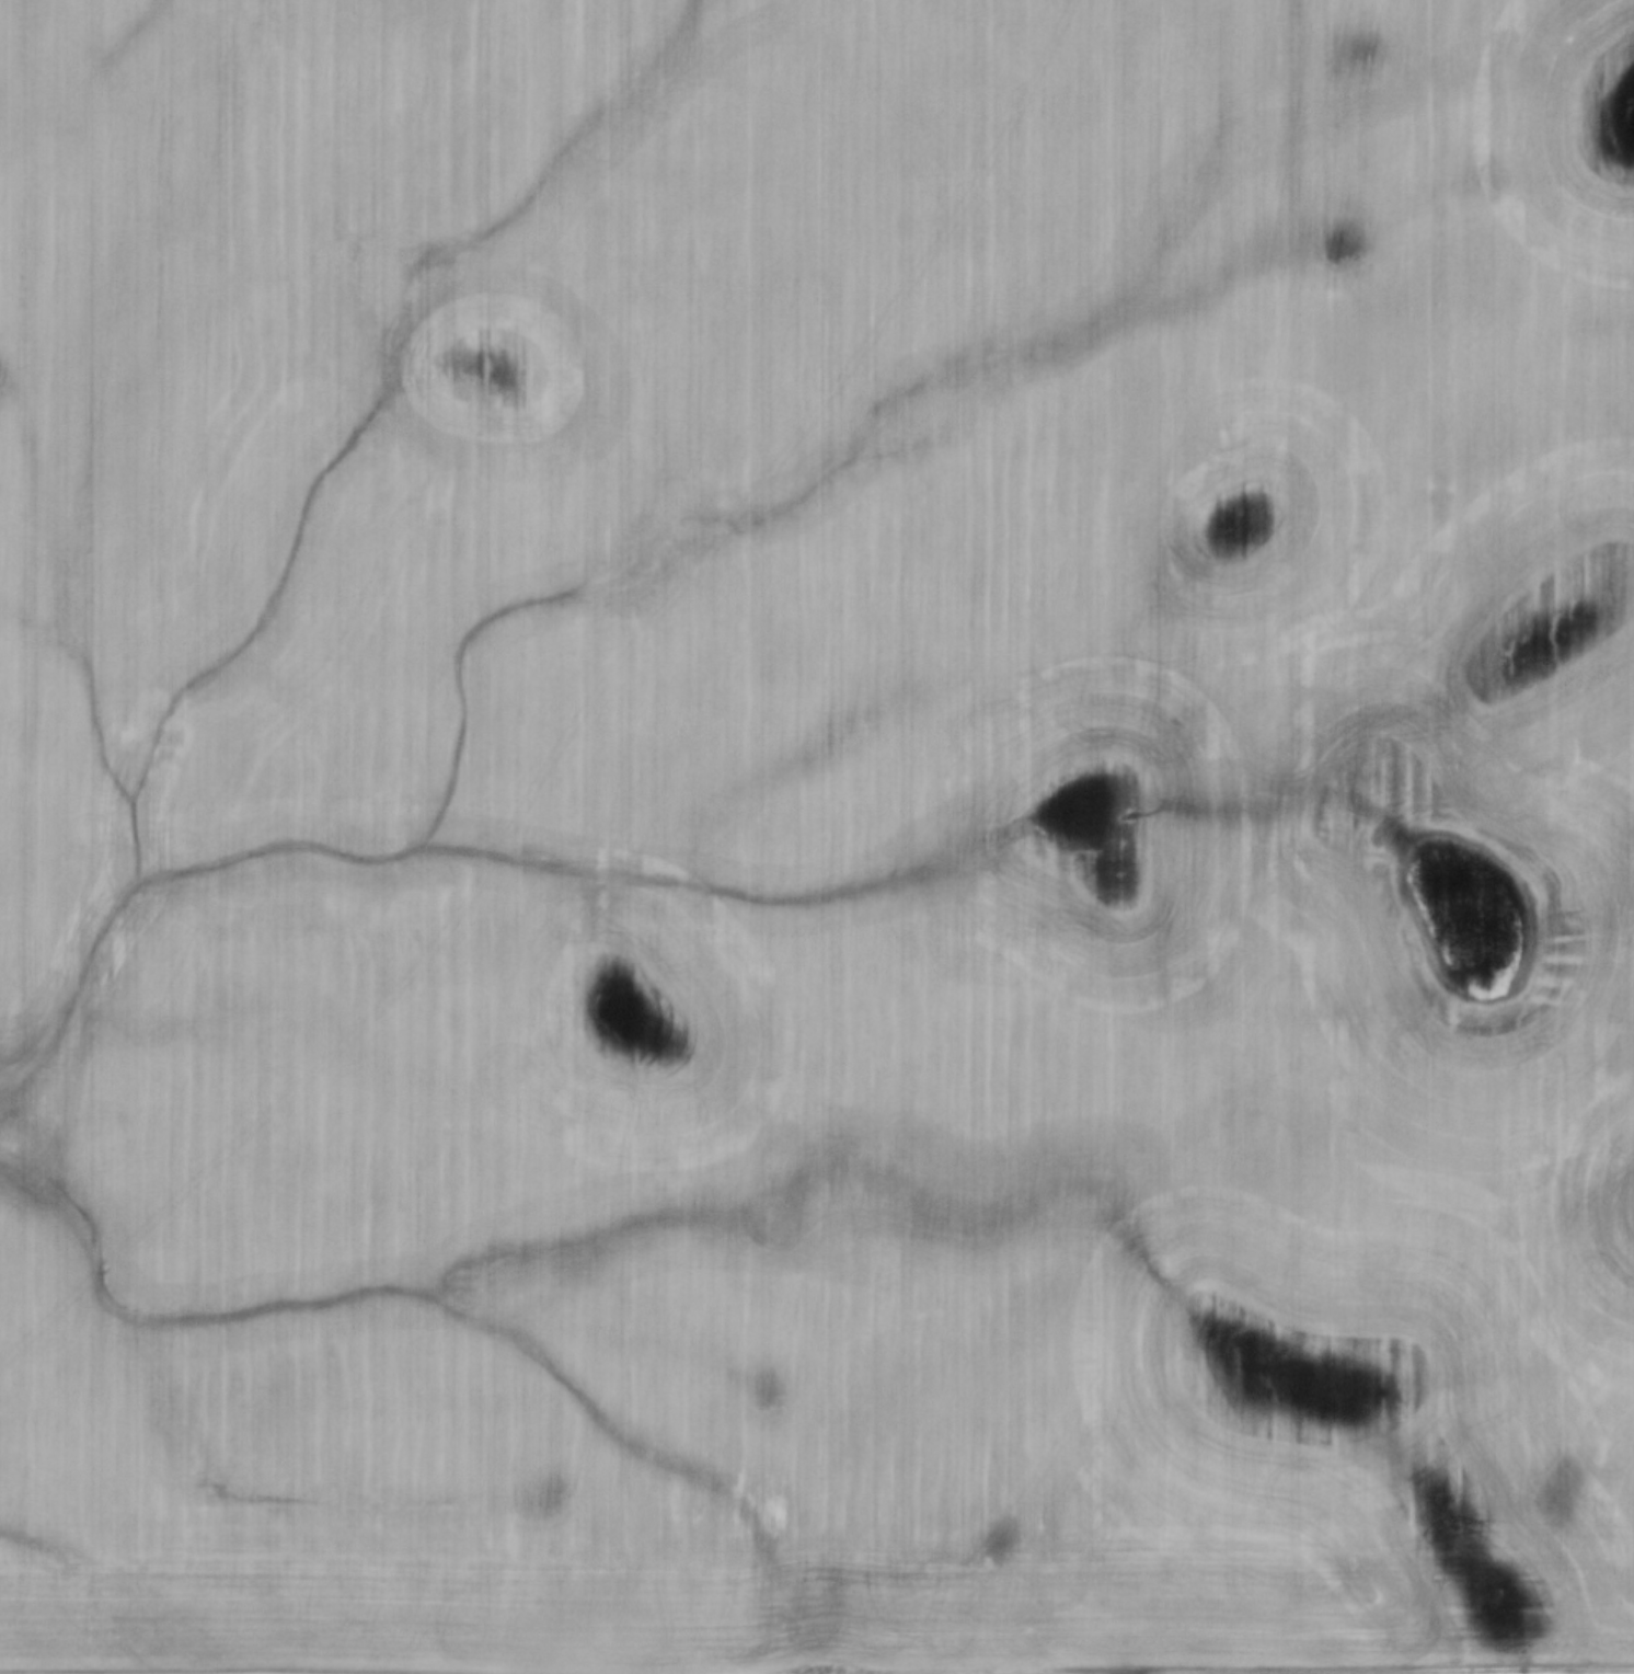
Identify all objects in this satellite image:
road: (1441, 1671)
road: (97, 1673)

